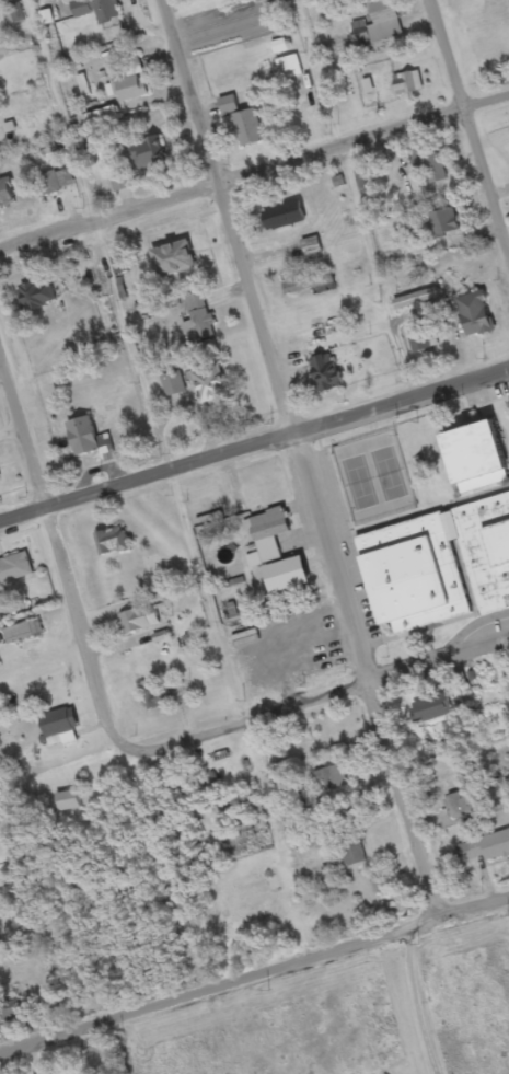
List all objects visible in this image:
building: (204, 0)
building: (96, 11)
building: (379, 26)
building: (130, 85)
building: (406, 86)
building: (84, 90)
road: (472, 122)
building: (85, 124)
building: (243, 125)
building: (147, 155)
road: (255, 181)
building: (57, 183)
building: (120, 184)
building: (7, 195)
road: (236, 217)
building: (285, 218)
building: (443, 224)
building: (311, 249)
building: (175, 263)
building: (118, 267)
building: (309, 286)
building: (36, 298)
building: (416, 301)
building: (475, 316)
building: (198, 322)
building: (419, 339)
building: (324, 376)
building: (210, 388)
road: (407, 405)
road: (461, 409)
building: (82, 439)
building: (475, 460)
park: (372, 481)
building: (0, 482)
road: (153, 482)
building: (267, 539)
building: (112, 544)
building: (438, 569)
building: (15, 570)
building: (139, 622)
building: (23, 634)
road: (474, 634)
building: (0, 643)
building: (31, 657)
road: (101, 669)
road: (374, 679)
building: (155, 701)
road: (320, 701)
building: (430, 712)
building: (59, 729)
building: (332, 779)
building: (67, 804)
building: (461, 807)
building: (488, 850)
building: (352, 853)
building: (380, 884)
road: (254, 981)
road: (414, 1004)
building: (12, 1014)

